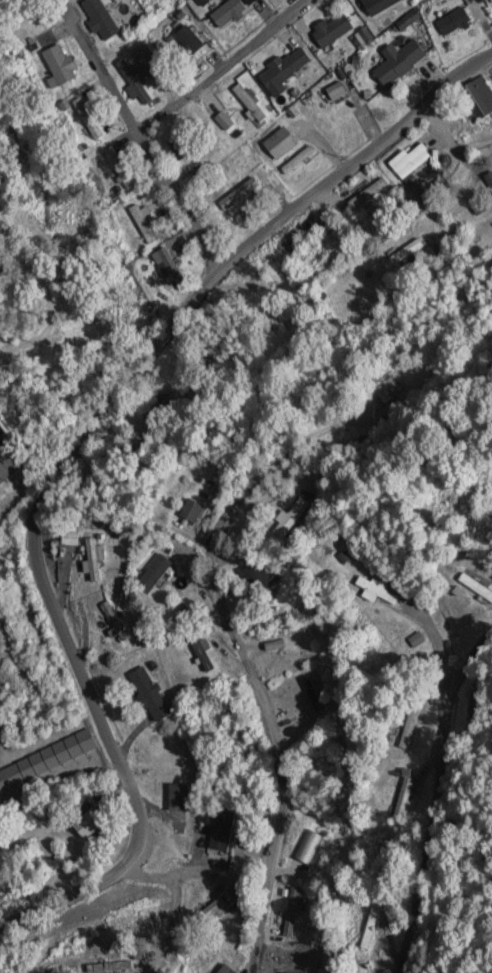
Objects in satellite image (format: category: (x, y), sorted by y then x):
building: (491, 1)
building: (377, 5)
building: (229, 11)
building: (99, 17)
building: (452, 22)
building: (331, 29)
building: (188, 39)
building: (142, 53)
building: (397, 62)
building: (59, 64)
road: (223, 68)
building: (283, 70)
building: (133, 81)
building: (333, 88)
building: (478, 99)
building: (249, 103)
building: (87, 118)
building: (223, 120)
road: (142, 143)
building: (279, 143)
building: (408, 160)
building: (119, 167)
building: (242, 188)
building: (369, 192)
building: (137, 218)
building: (308, 236)
building: (403, 254)
building: (168, 264)
building: (284, 324)
building: (175, 398)
building: (390, 411)
building: (4, 437)
building: (359, 444)
road: (69, 457)
road: (8, 485)
building: (189, 511)
building: (69, 538)
building: (92, 558)
building: (152, 573)
building: (256, 577)
building: (475, 587)
building: (375, 590)
building: (113, 621)
road: (226, 622)
road: (29, 632)
building: (412, 640)
road: (474, 658)
building: (312, 693)
building: (148, 694)
building: (410, 727)
building: (46, 760)
building: (177, 798)
building: (404, 798)
road: (246, 818)
road: (430, 821)
building: (87, 823)
building: (220, 833)
building: (214, 907)
building: (292, 912)
building: (371, 928)
building: (231, 965)
building: (359, 967)

